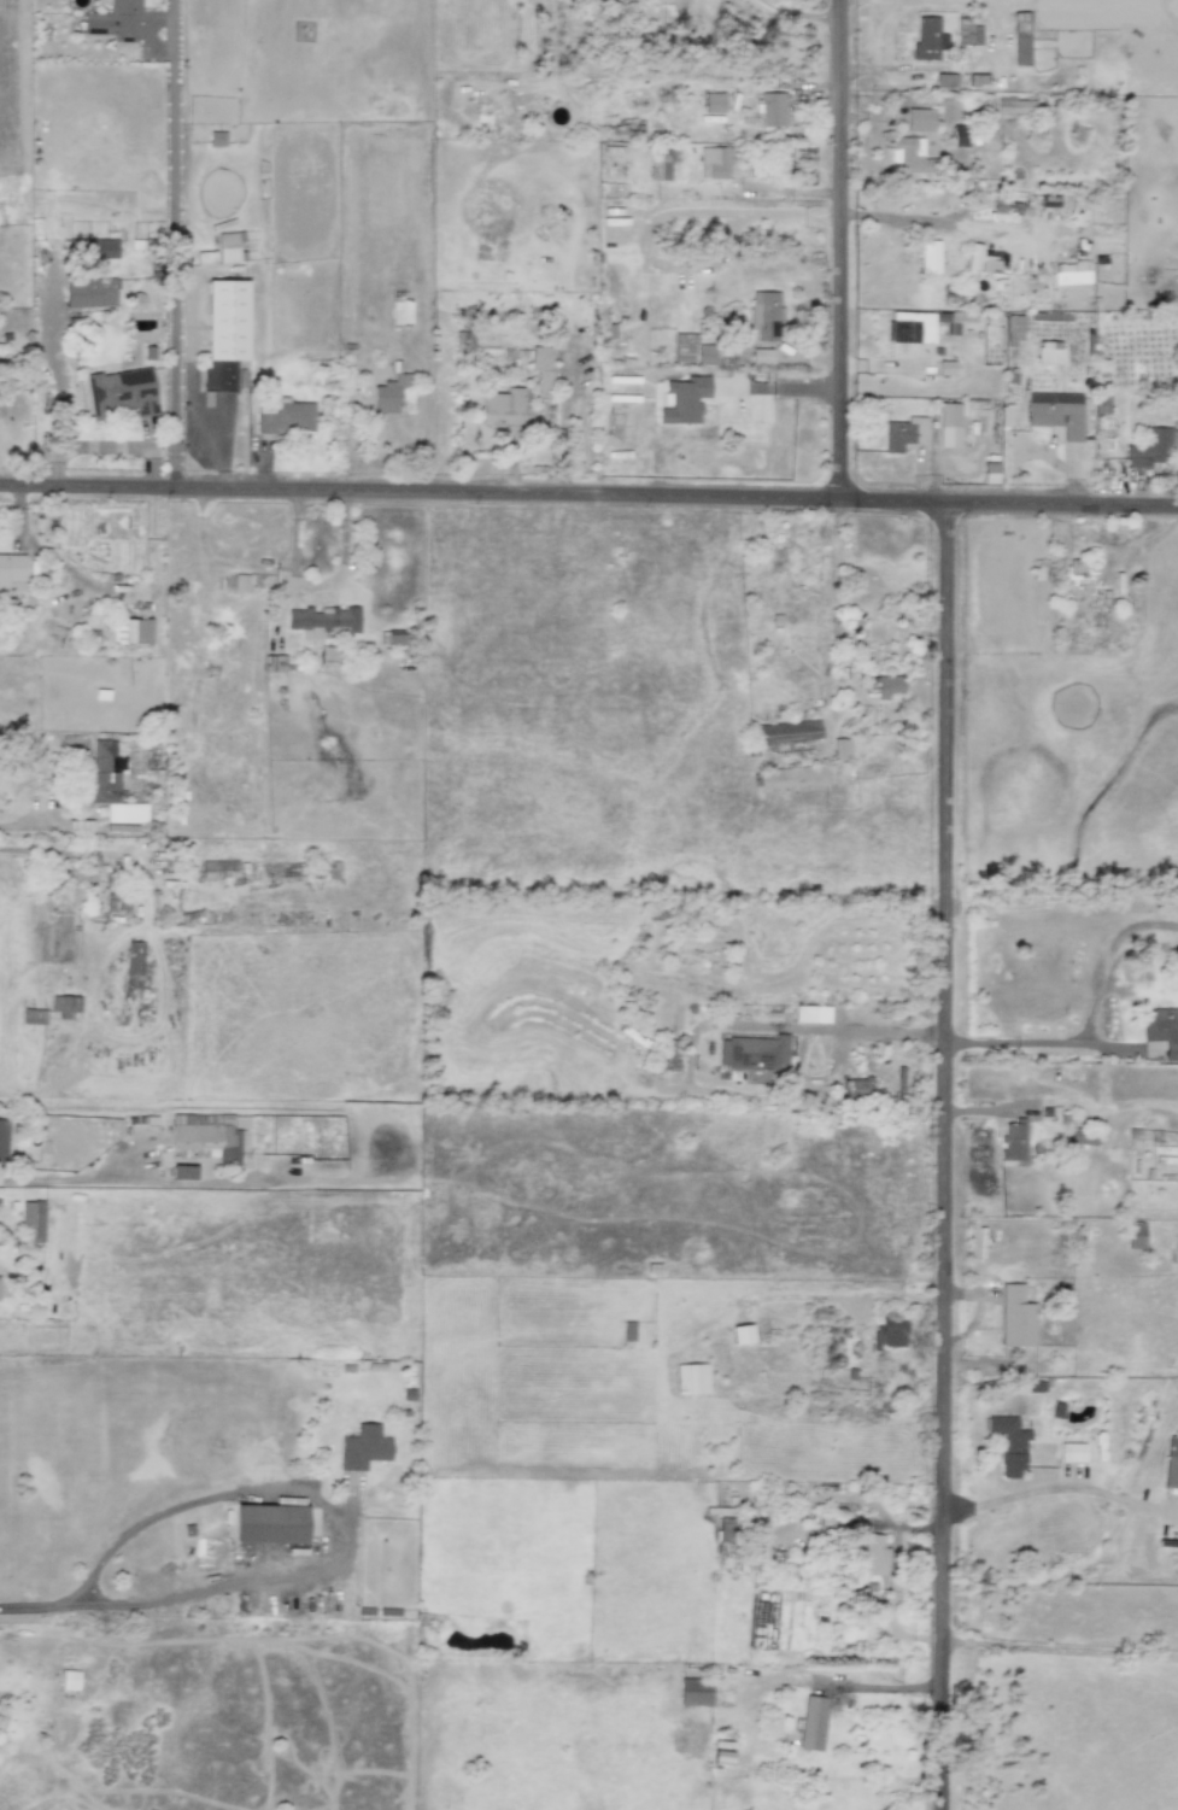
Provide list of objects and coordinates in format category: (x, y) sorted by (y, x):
road: (801, 13)
building: (115, 20)
building: (967, 31)
building: (927, 37)
building: (1020, 37)
building: (945, 80)
building: (714, 102)
building: (1015, 105)
building: (773, 110)
building: (919, 121)
building: (957, 136)
building: (909, 156)
building: (714, 162)
building: (661, 163)
road: (667, 216)
road: (932, 222)
building: (229, 246)
building: (92, 248)
road: (839, 252)
building: (973, 256)
building: (206, 257)
building: (928, 257)
building: (1071, 273)
road: (174, 286)
building: (90, 293)
building: (399, 310)
building: (763, 315)
building: (1014, 328)
building: (903, 332)
building: (223, 335)
building: (691, 350)
building: (1049, 352)
building: (761, 356)
building: (541, 367)
building: (122, 392)
building: (387, 396)
building: (685, 400)
building: (505, 409)
building: (1056, 412)
building: (285, 417)
building: (949, 424)
building: (903, 434)
building: (1149, 450)
building: (989, 473)
road: (588, 498)
road: (340, 564)
building: (11, 569)
road: (252, 569)
building: (1077, 572)
building: (326, 620)
building: (131, 631)
building: (274, 663)
building: (887, 685)
building: (842, 749)
building: (110, 785)
road: (25, 822)
road: (20, 849)
building: (219, 868)
building: (82, 872)
building: (134, 965)
building: (66, 1006)
building: (33, 1017)
building: (1161, 1029)
road: (873, 1031)
road: (1036, 1042)
building: (755, 1056)
building: (205, 1137)
building: (2, 1138)
road: (946, 1158)
building: (183, 1172)
road: (80, 1178)
building: (31, 1222)
building: (1135, 1237)
building: (1018, 1311)
building: (887, 1332)
building: (1009, 1446)
building: (363, 1447)
building: (1171, 1463)
road: (1027, 1490)
road: (1119, 1498)
road: (1145, 1506)
road: (333, 1512)
building: (270, 1524)
building: (872, 1554)
road: (34, 1609)
building: (69, 1680)
road: (881, 1687)
building: (693, 1692)
building: (810, 1724)

